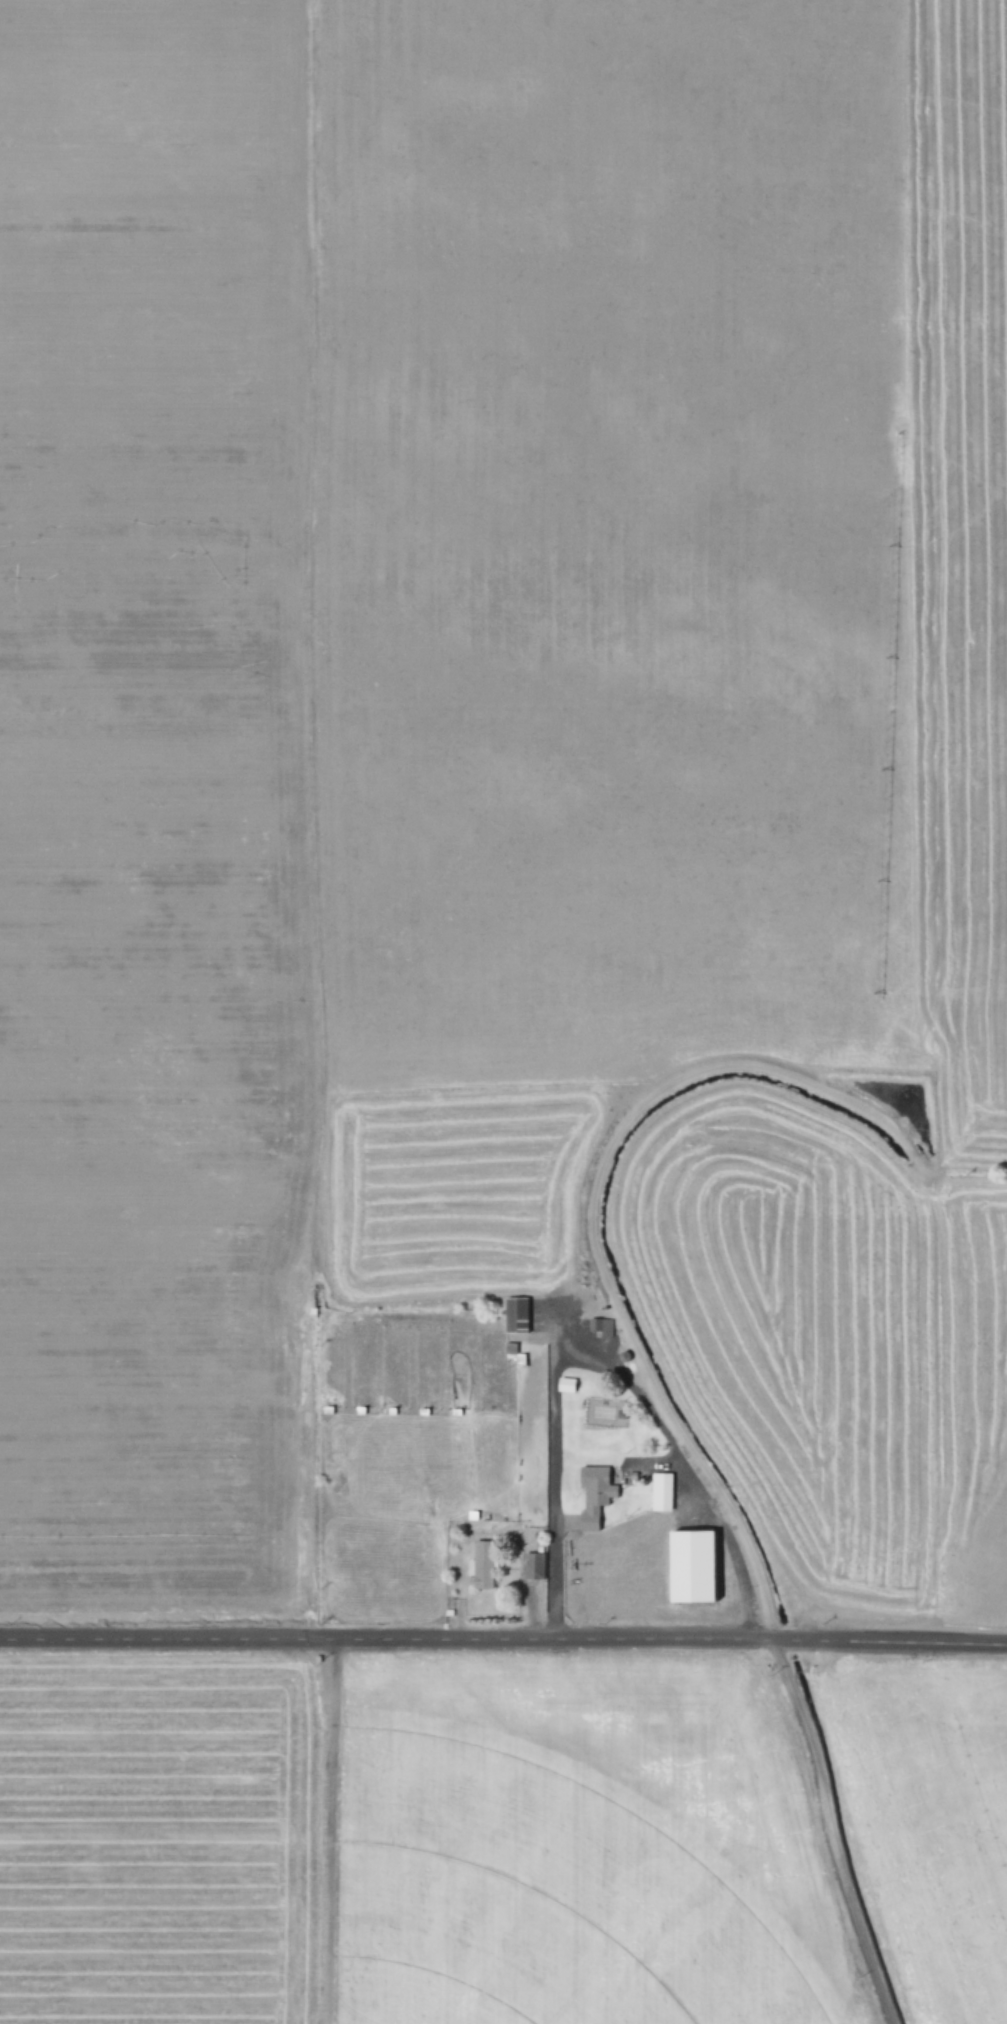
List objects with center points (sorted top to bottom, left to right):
building: (515, 1315)
building: (601, 1327)
building: (513, 1356)
building: (661, 1491)
building: (594, 1496)
building: (753, 1499)
building: (483, 1564)
building: (533, 1565)
building: (694, 1566)
road: (503, 1639)
road: (834, 1831)

